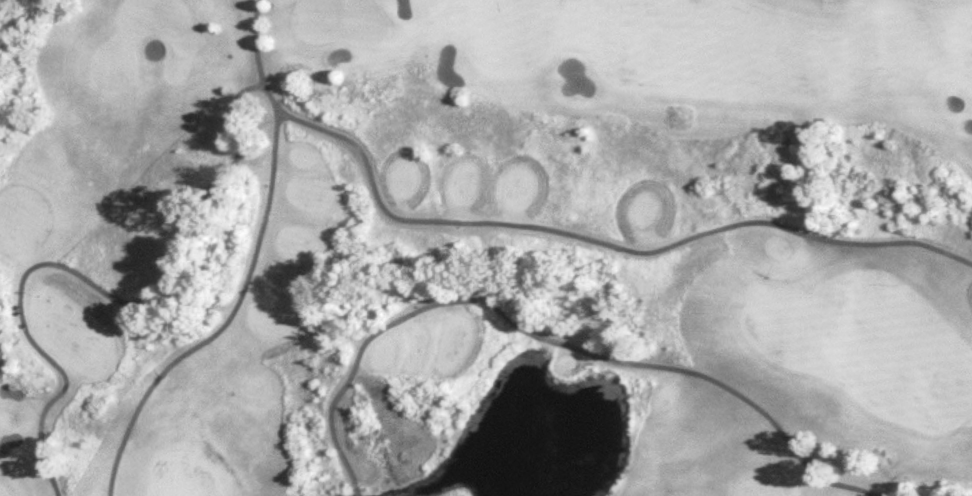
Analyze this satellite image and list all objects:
road: (600, 241)
park: (486, 248)
road: (245, 269)
road: (86, 283)
road: (548, 340)

